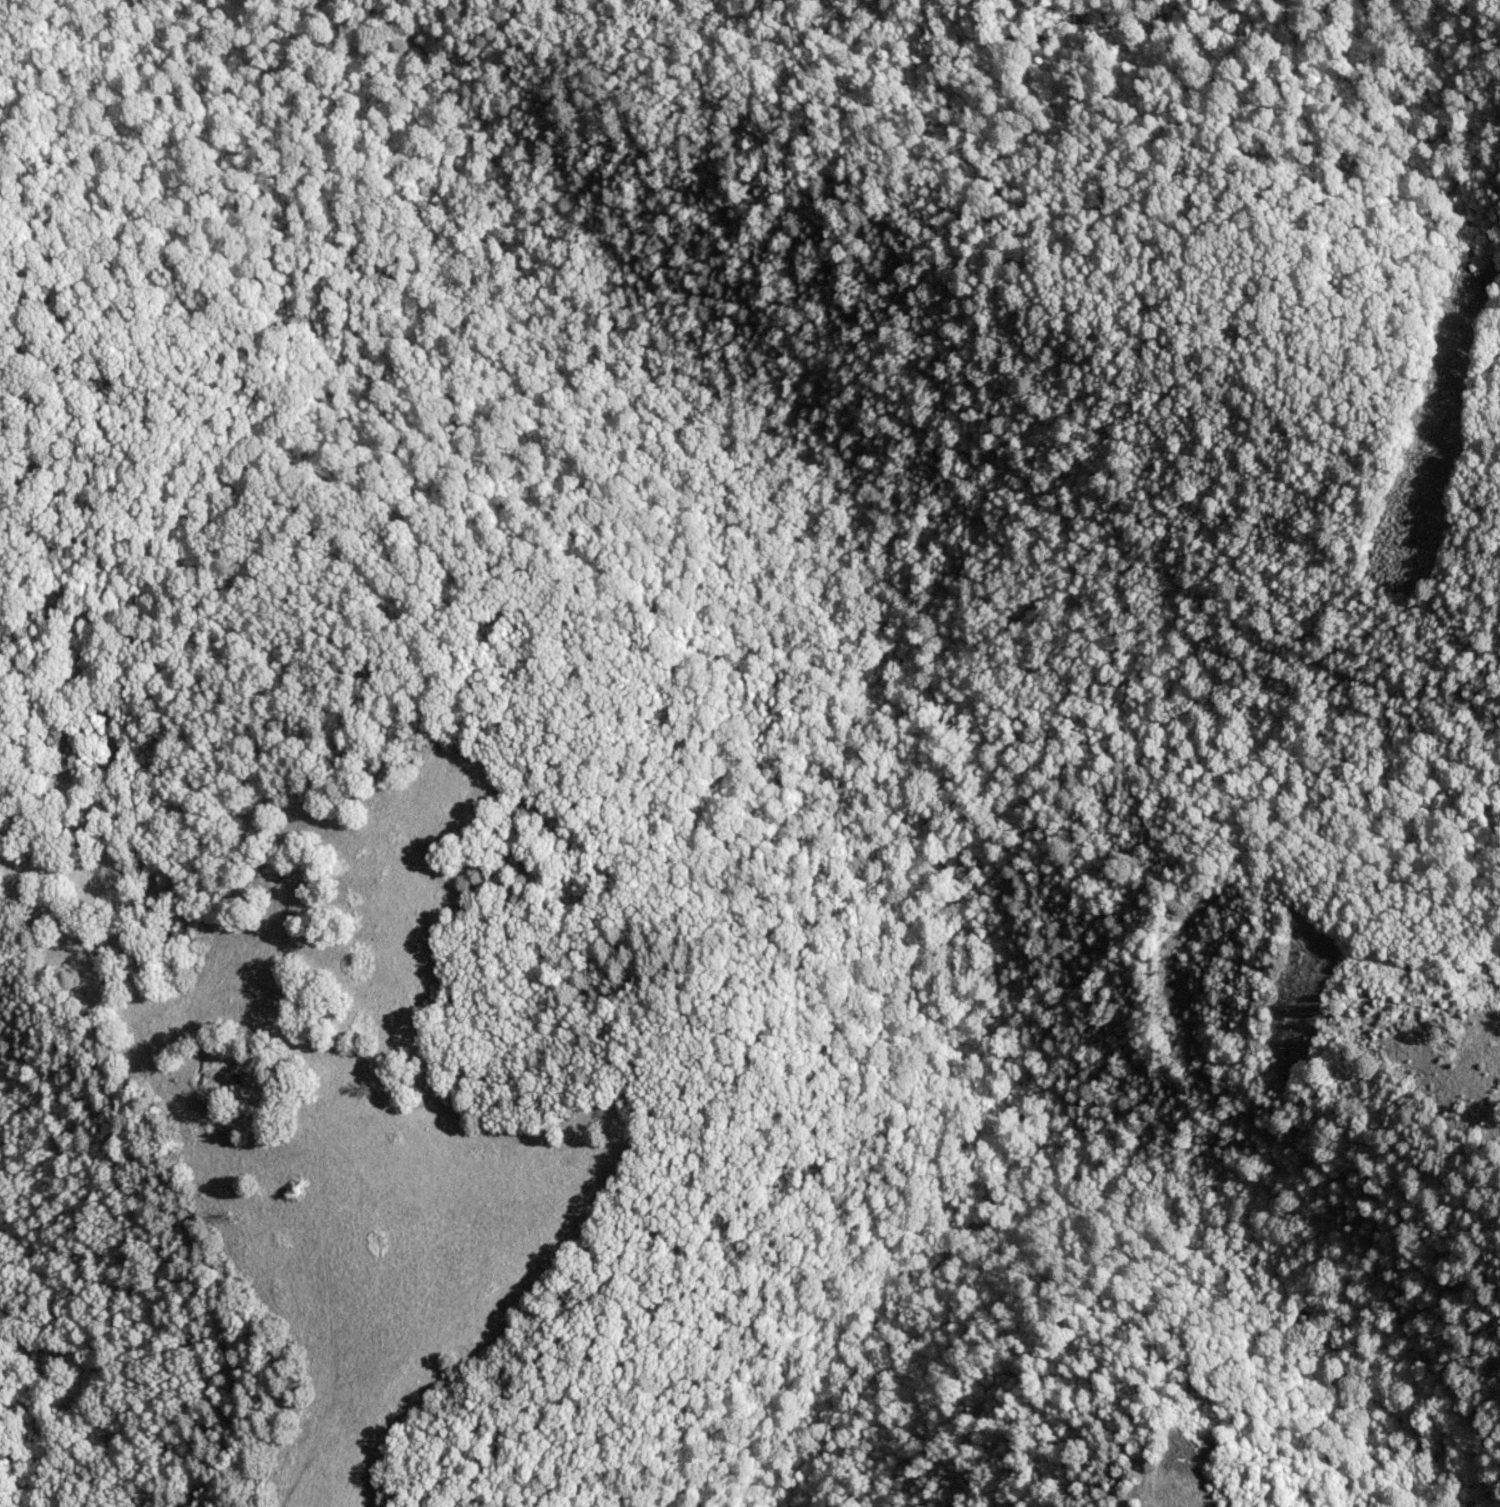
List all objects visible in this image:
power tower: (1432, 454)
power tower: (1291, 1007)

